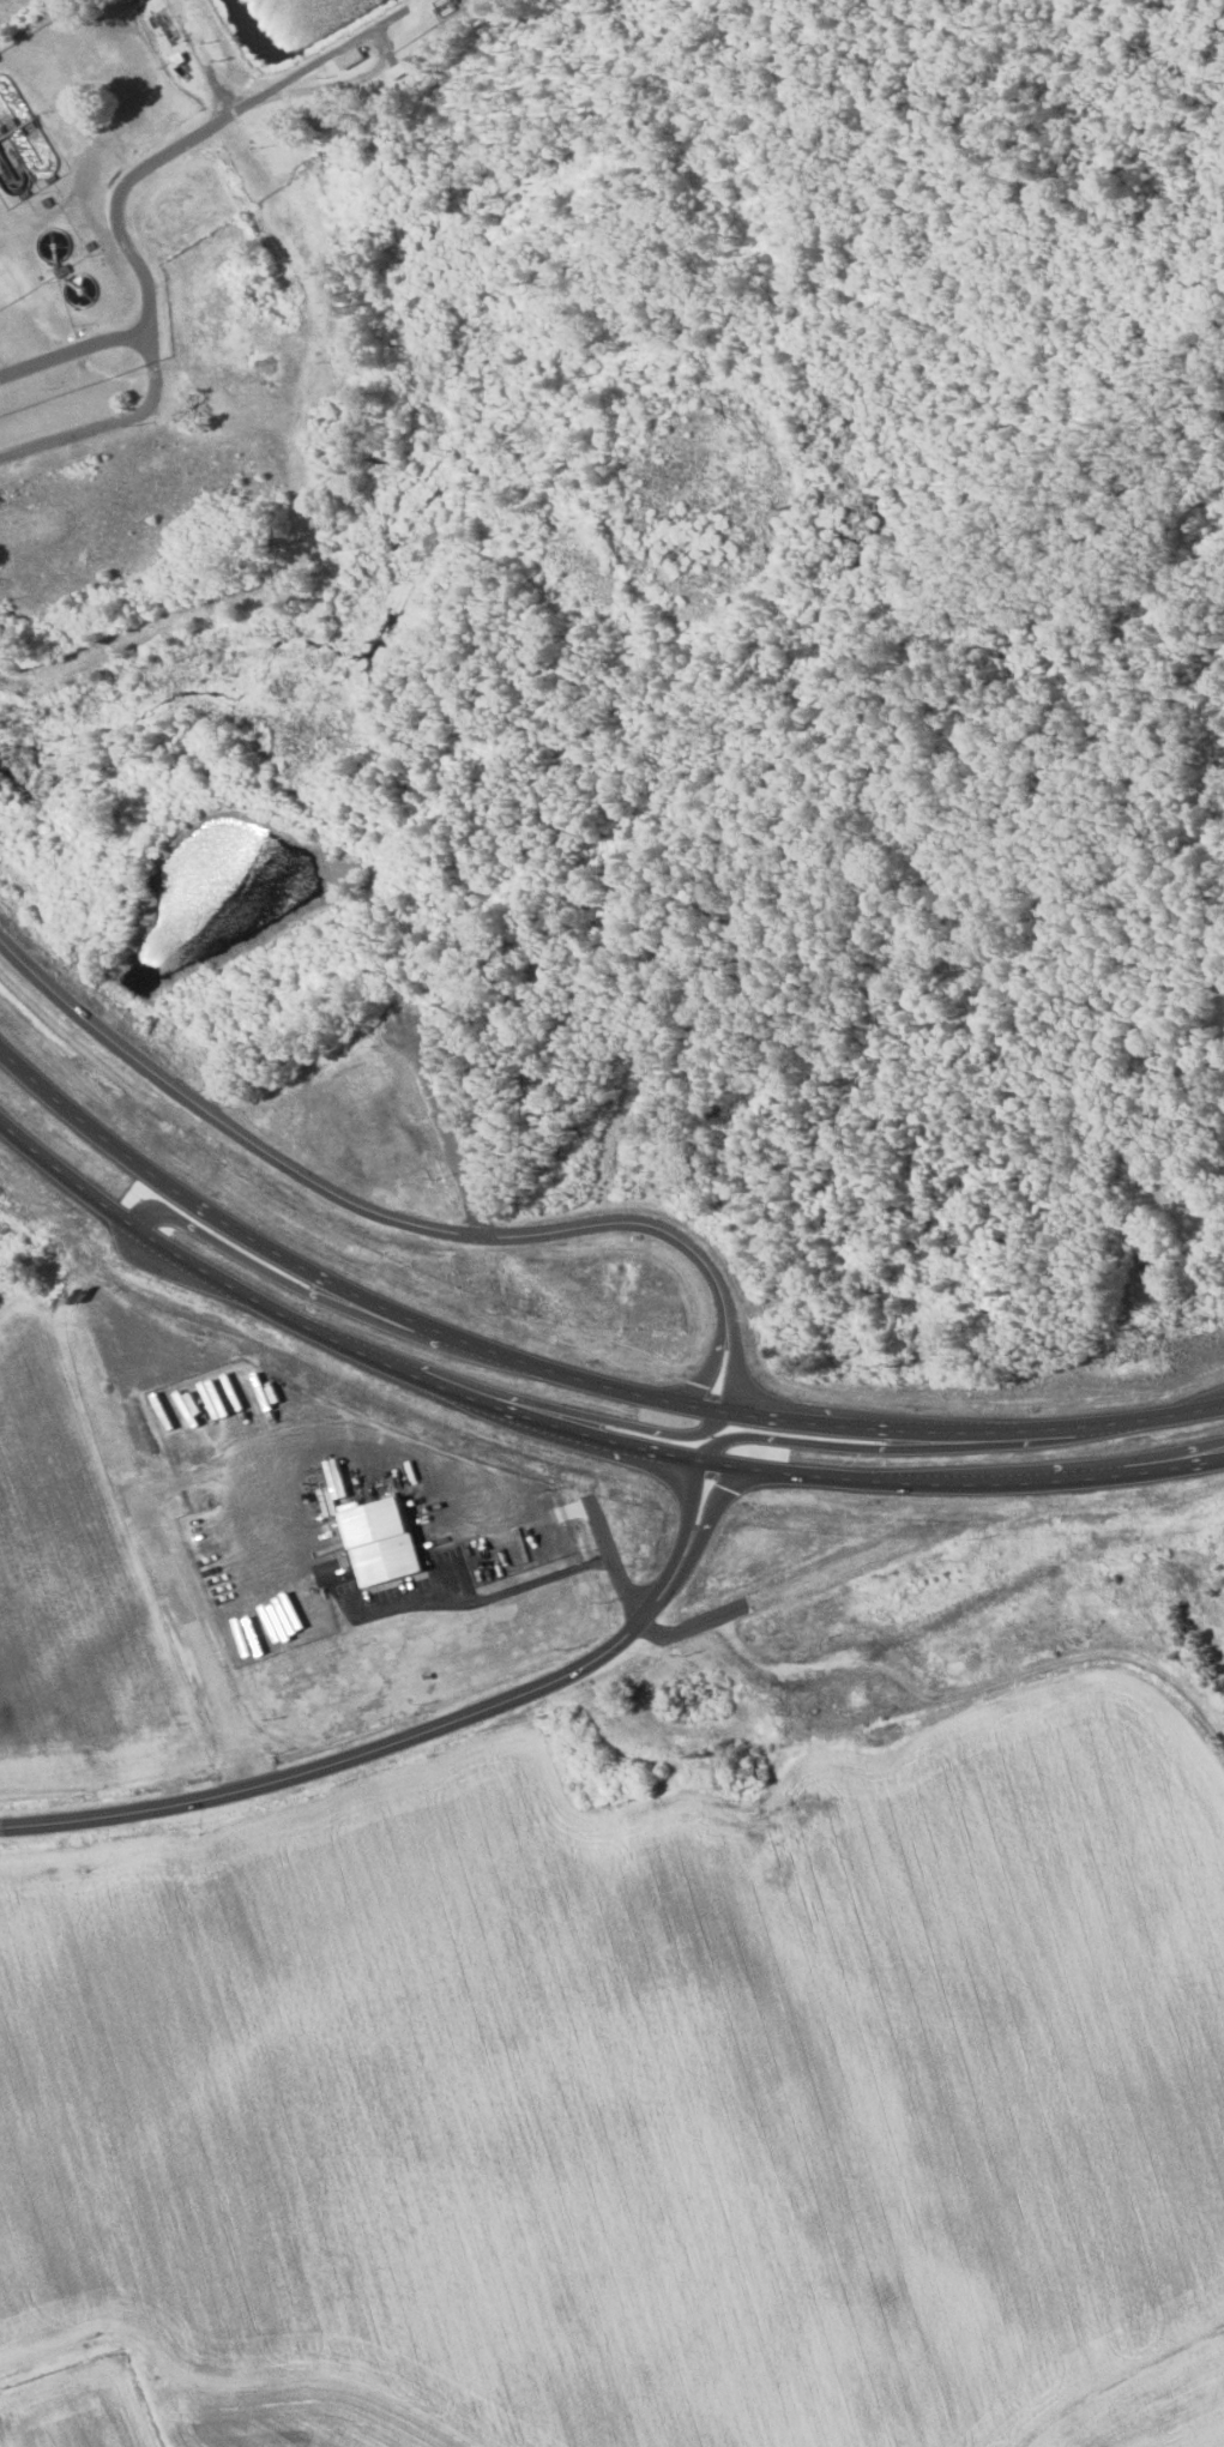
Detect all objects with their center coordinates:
building: (448, 6)
wastewater plant: (302, 19)
building: (356, 55)
building: (399, 71)
road: (442, 1127)
road: (392, 1217)
building: (1152, 1256)
road: (332, 1282)
road: (293, 1284)
building: (1164, 1318)
building: (848, 1344)
road: (555, 1406)
road: (573, 1429)
road: (972, 1430)
road: (892, 1448)
road: (1158, 1453)
building: (386, 1542)
road: (615, 1560)
building: (693, 1699)
road: (417, 1732)
building: (749, 1776)

